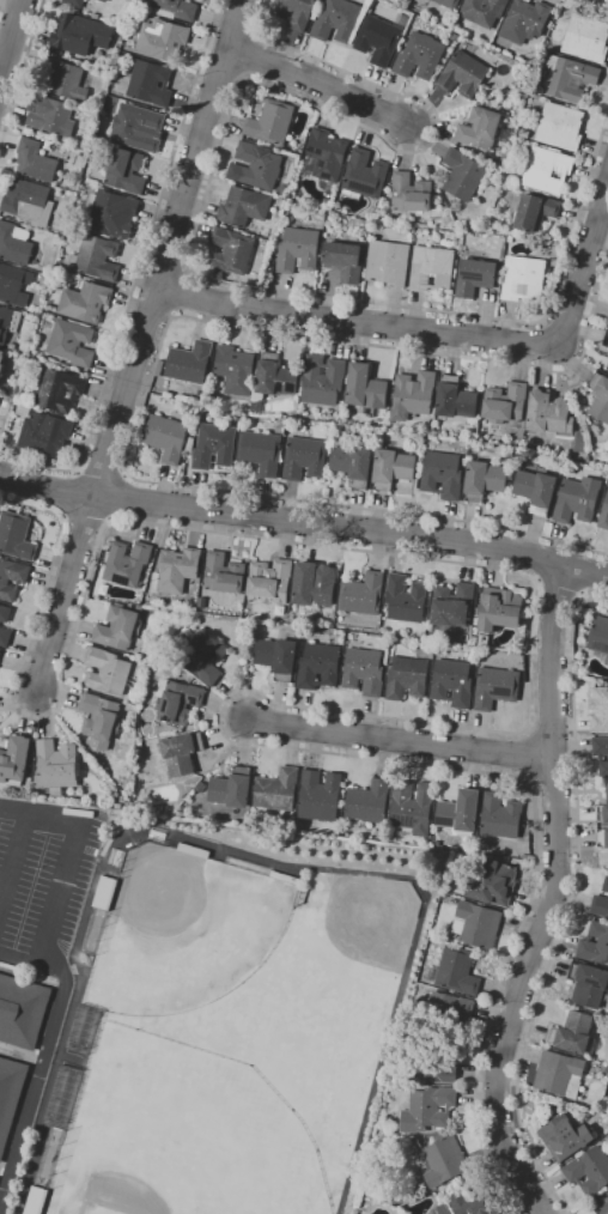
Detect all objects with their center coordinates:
building: (104, 0)
building: (74, 2)
building: (449, 2)
road: (595, 5)
building: (176, 8)
building: (484, 11)
building: (294, 12)
building: (446, 14)
building: (96, 16)
building: (338, 20)
building: (525, 20)
building: (551, 24)
road: (10, 31)
building: (80, 34)
building: (455, 36)
building: (585, 36)
building: (381, 37)
building: (163, 38)
building: (419, 56)
road: (20, 68)
building: (463, 74)
building: (571, 77)
building: (66, 79)
building: (151, 83)
road: (318, 84)
building: (50, 115)
building: (270, 122)
building: (560, 126)
building: (138, 127)
building: (480, 128)
building: (326, 157)
building: (35, 160)
building: (256, 166)
building: (547, 169)
building: (126, 170)
building: (365, 174)
building: (462, 174)
building: (285, 189)
building: (412, 193)
building: (28, 201)
building: (244, 206)
building: (535, 211)
building: (111, 213)
road: (195, 224)
building: (510, 238)
building: (14, 243)
building: (232, 249)
building: (298, 249)
building: (97, 256)
building: (345, 260)
building: (388, 262)
building: (432, 268)
road: (138, 273)
building: (475, 277)
building: (523, 278)
building: (47, 281)
building: (13, 284)
road: (180, 292)
building: (85, 302)
building: (8, 322)
building: (607, 322)
road: (431, 330)
building: (606, 339)
building: (72, 342)
road: (138, 342)
building: (1, 360)
building: (189, 362)
building: (159, 368)
building: (607, 368)
building: (236, 369)
building: (275, 376)
road: (151, 380)
building: (323, 380)
building: (366, 387)
building: (59, 389)
building: (18, 391)
building: (414, 391)
building: (600, 396)
building: (456, 397)
building: (256, 402)
building: (505, 402)
building: (548, 412)
building: (45, 433)
building: (166, 437)
building: (579, 443)
building: (214, 445)
building: (261, 451)
building: (304, 457)
building: (464, 461)
building: (353, 463)
building: (393, 468)
road: (102, 469)
building: (443, 474)
building: (485, 479)
building: (536, 490)
road: (67, 493)
road: (121, 497)
building: (578, 499)
building: (603, 516)
road: (84, 520)
road: (302, 524)
building: (16, 535)
building: (127, 563)
building: (176, 570)
building: (224, 573)
building: (12, 577)
building: (270, 581)
building: (315, 584)
road: (558, 588)
building: (363, 594)
building: (406, 597)
building: (452, 605)
building: (499, 611)
building: (5, 613)
building: (475, 621)
building: (118, 627)
building: (598, 635)
building: (5, 637)
building: (205, 657)
building: (278, 657)
building: (607, 661)
building: (318, 666)
building: (107, 670)
building: (364, 670)
building: (188, 676)
building: (407, 678)
building: (452, 682)
building: (495, 687)
building: (177, 700)
building: (600, 710)
building: (101, 720)
road: (516, 733)
road: (401, 739)
building: (182, 753)
building: (601, 753)
building: (14, 760)
building: (56, 764)
building: (201, 787)
building: (232, 788)
building: (276, 789)
building: (320, 795)
building: (369, 801)
building: (412, 807)
building: (603, 809)
building: (460, 811)
building: (500, 815)
building: (603, 838)
building: (436, 843)
road: (241, 852)
road: (14, 860)
road: (69, 860)
parking lot: (44, 880)
building: (493, 882)
building: (606, 884)
building: (102, 892)
road: (551, 894)
road: (571, 899)
building: (600, 905)
building: (478, 924)
park: (181, 928)
building: (595, 943)
road: (31, 961)
building: (456, 971)
building: (589, 984)
park: (314, 1008)
building: (22, 1010)
building: (446, 1013)
building: (573, 1032)
building: (432, 1062)
building: (560, 1074)
road: (36, 1085)
building: (10, 1095)
building: (427, 1109)
building: (390, 1125)
building: (565, 1136)
park: (175, 1137)
building: (445, 1161)
building: (589, 1170)
building: (472, 1203)
building: (601, 1206)
building: (440, 1209)

